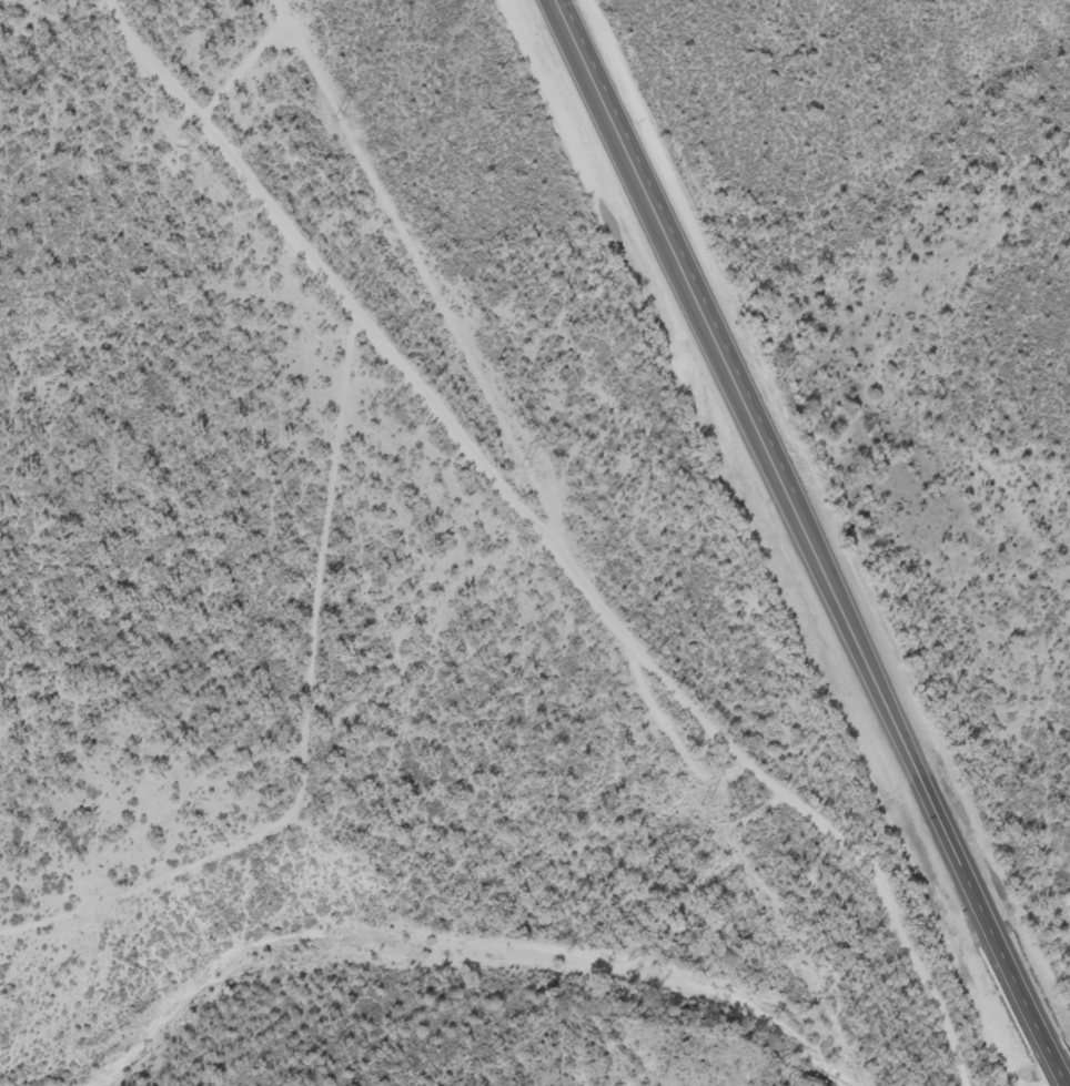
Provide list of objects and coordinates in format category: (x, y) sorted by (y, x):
power tower: (340, 120)
power tower: (523, 466)
road: (332, 525)
road: (806, 542)
power tower: (703, 804)

